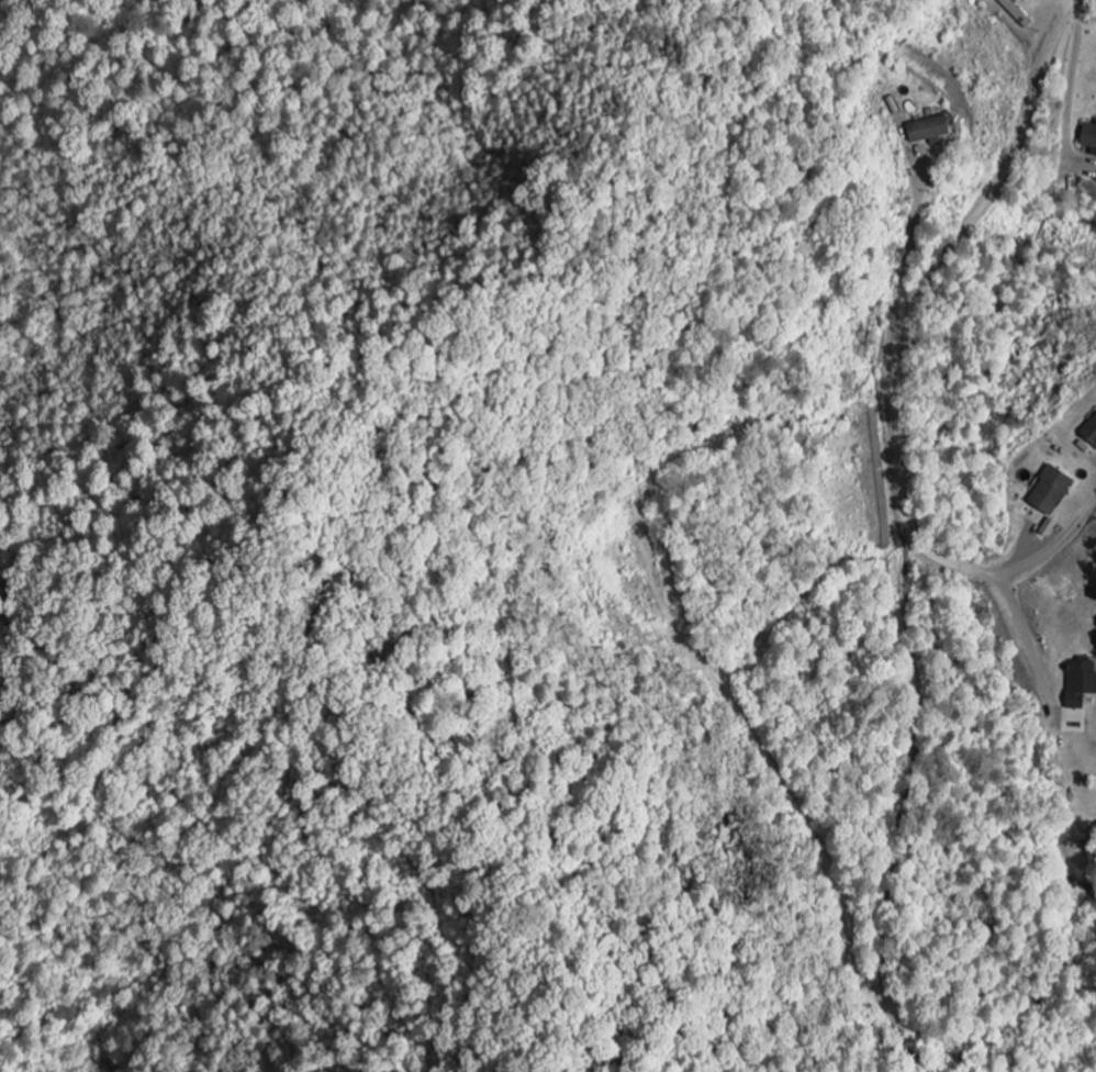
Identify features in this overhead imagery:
road: (1069, 1)
building: (925, 131)
building: (1087, 138)
building: (1088, 434)
building: (1047, 492)
building: (1077, 683)

